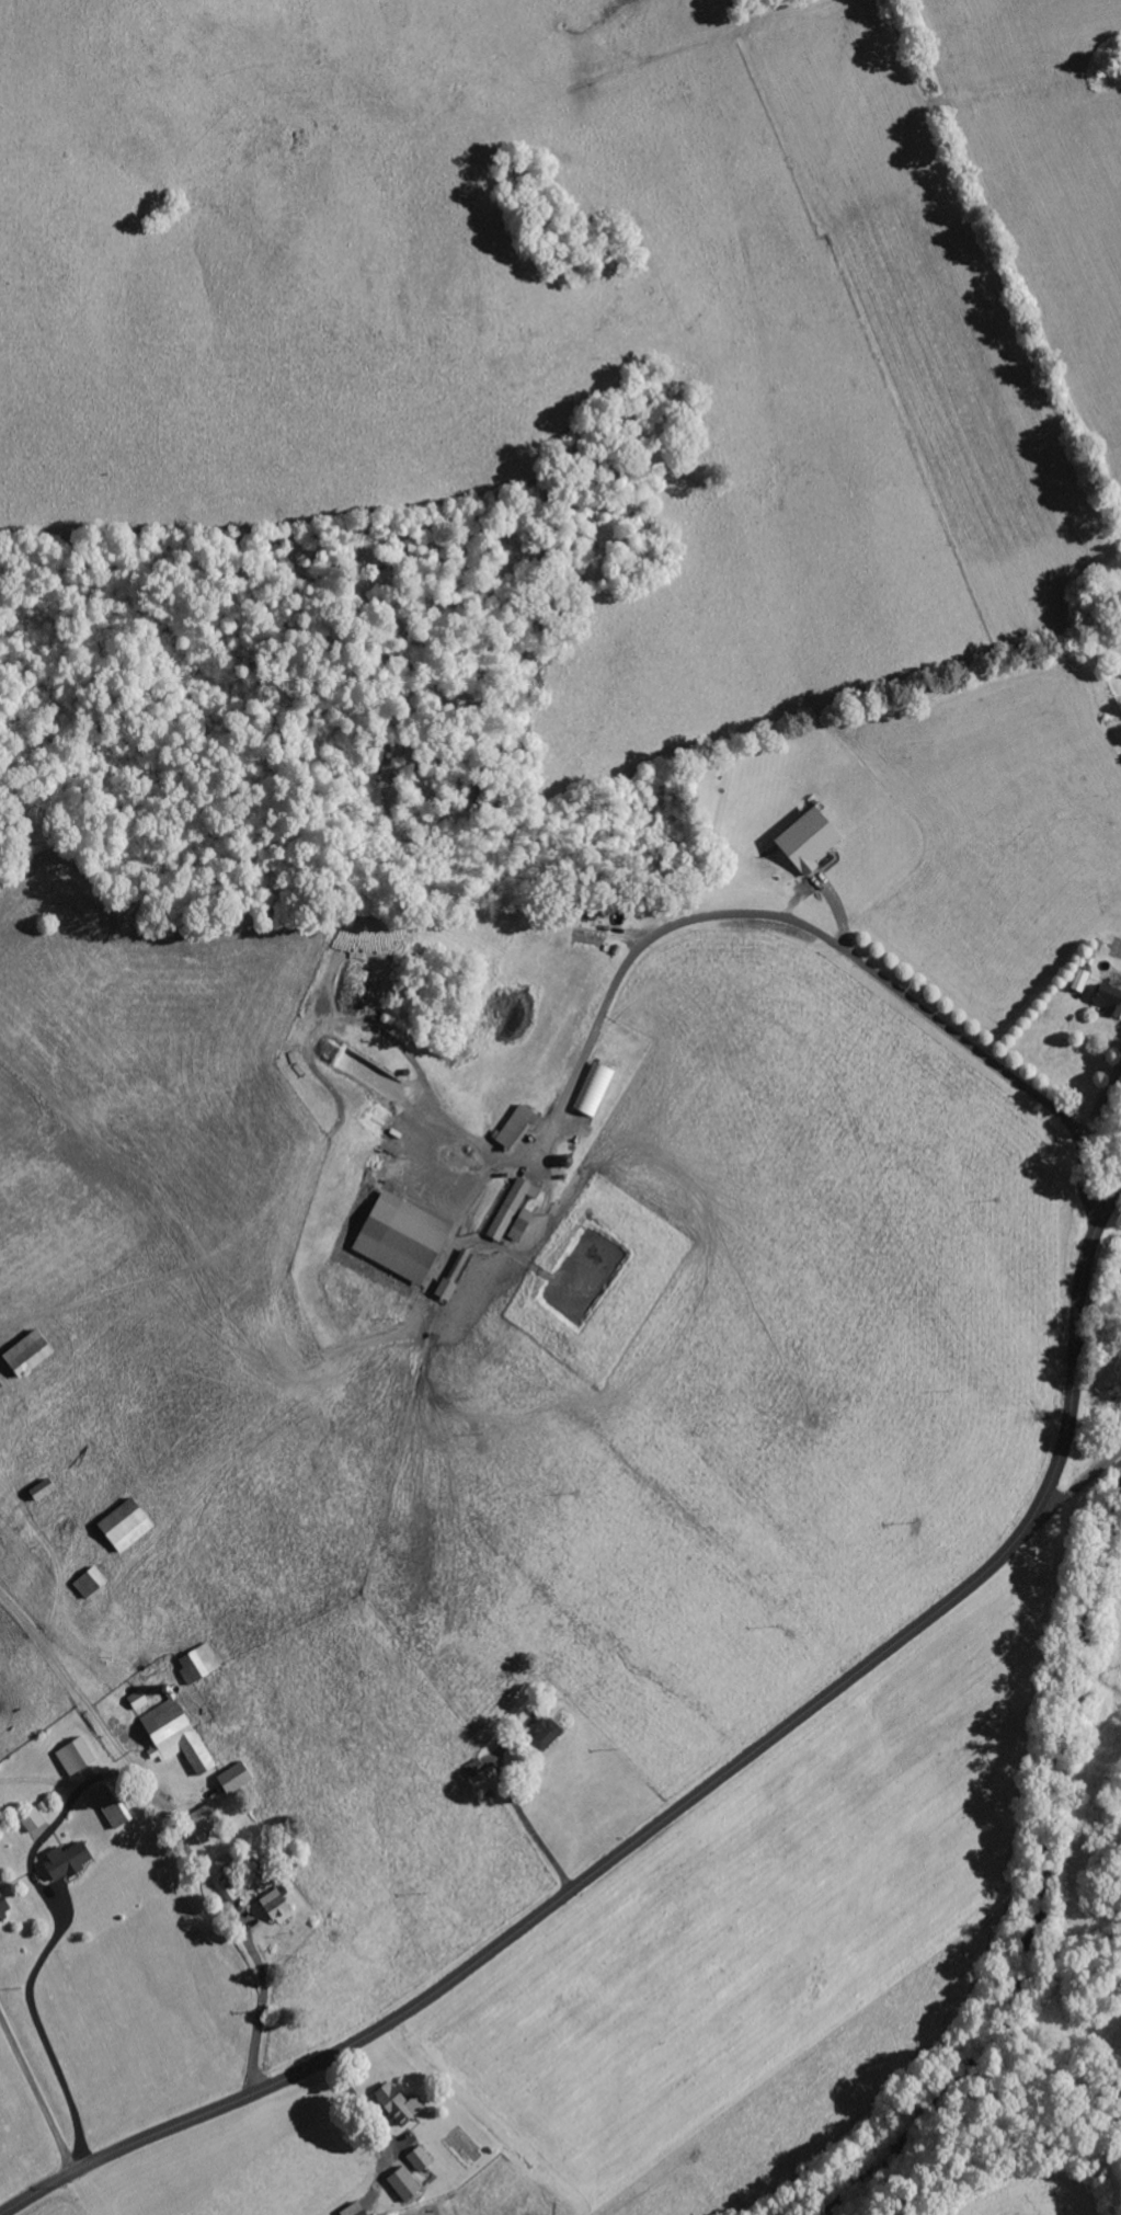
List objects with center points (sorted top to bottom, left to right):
building: (809, 840)
building: (1109, 998)
building: (594, 1089)
building: (516, 1128)
building: (512, 1207)
building: (521, 1224)
building: (402, 1237)
building: (459, 1264)
building: (445, 1289)
building: (27, 1354)
road: (1083, 1477)
building: (42, 1487)
building: (125, 1523)
building: (90, 1580)
building: (199, 1660)
building: (138, 1698)
building: (545, 1732)
building: (175, 1735)
building: (76, 1755)
building: (235, 1777)
road: (684, 1804)
building: (111, 1805)
building: (33, 1819)
building: (199, 1822)
building: (67, 1860)
building: (226, 1862)
building: (277, 1904)
building: (3, 1906)
building: (398, 2103)
building: (420, 2157)
building: (404, 2182)
building: (353, 2210)

